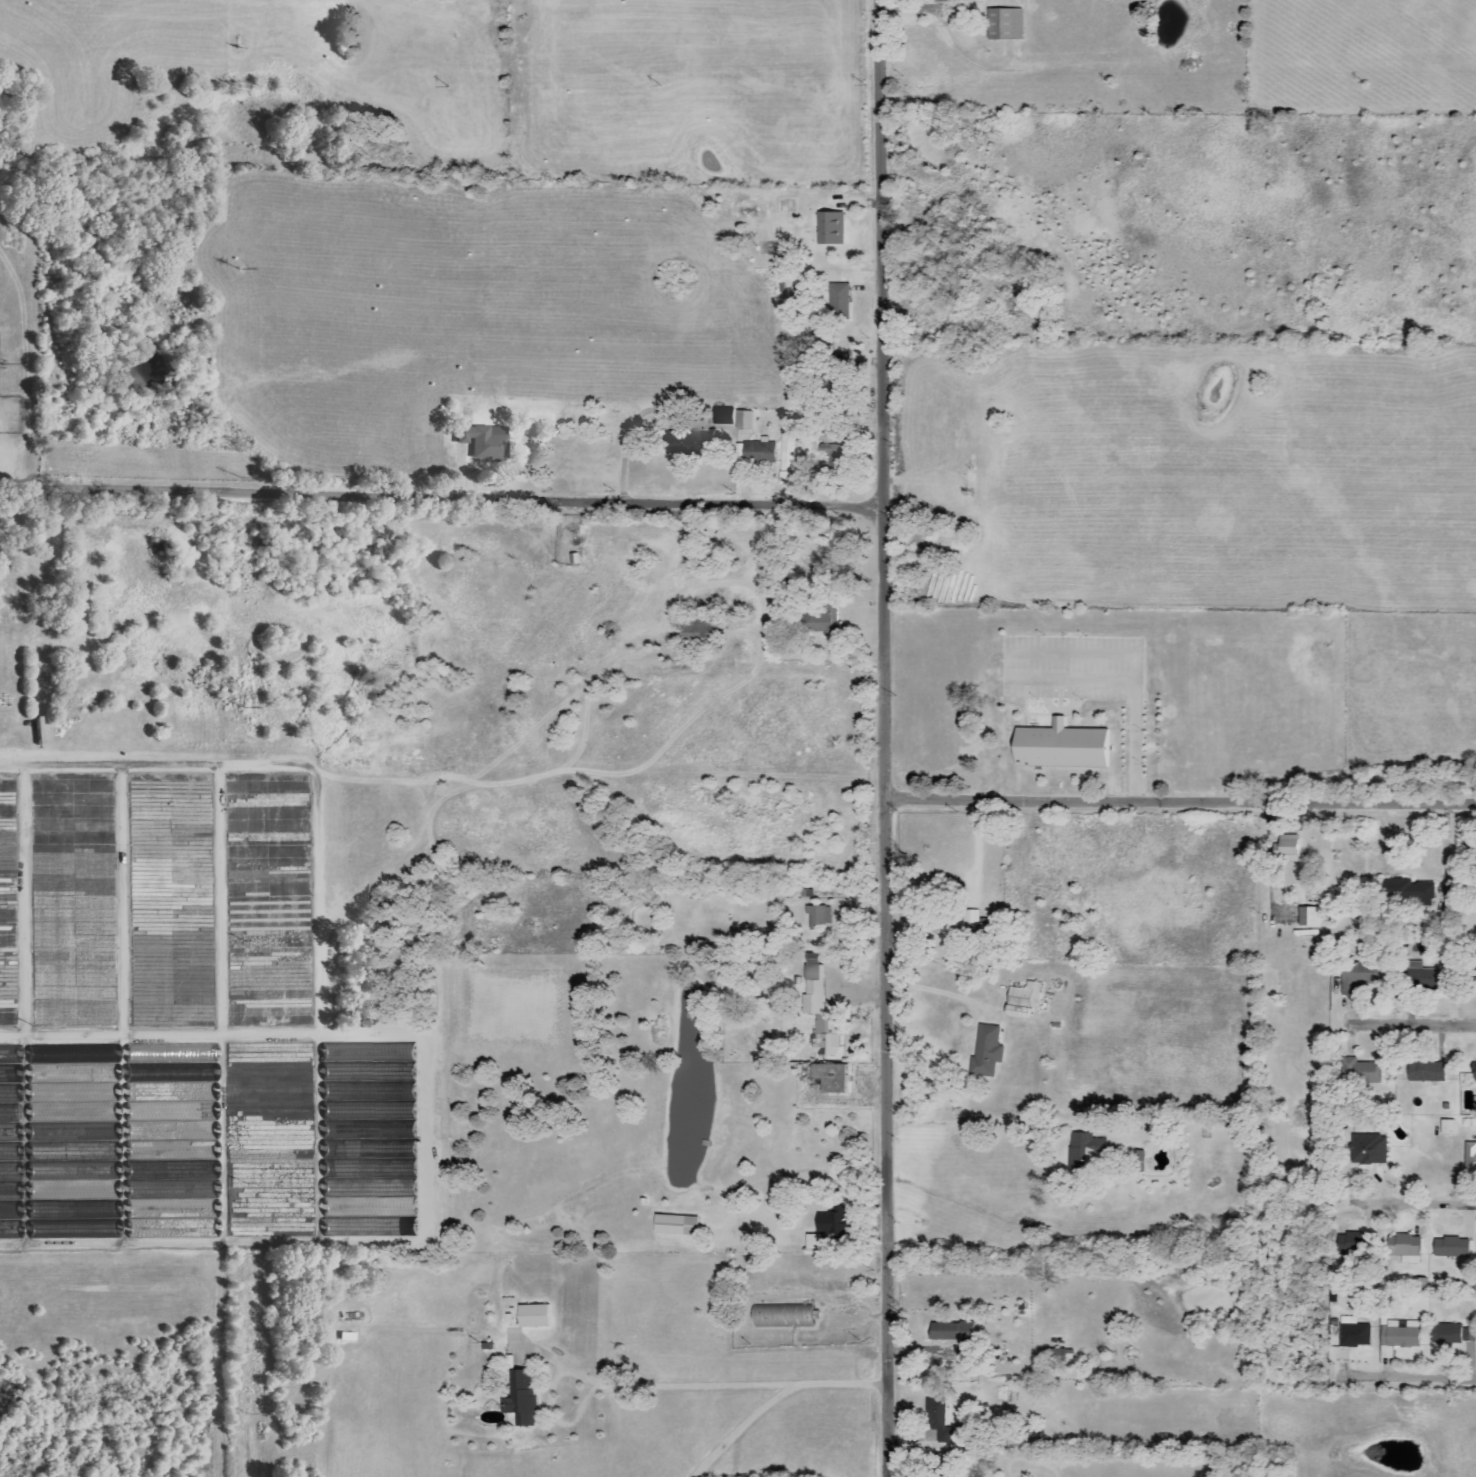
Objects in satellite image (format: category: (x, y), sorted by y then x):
building: (944, 1)
building: (1004, 24)
power tower: (1361, 83)
power tower: (657, 84)
power tower: (860, 84)
power tower: (1109, 84)
power tower: (442, 86)
power tower: (232, 89)
building: (829, 228)
road: (878, 270)
power tower: (234, 271)
building: (837, 301)
building: (722, 416)
building: (743, 421)
building: (832, 437)
building: (482, 440)
building: (680, 443)
building: (788, 446)
building: (759, 452)
power tower: (238, 481)
road: (440, 495)
building: (821, 620)
building: (699, 633)
road: (1134, 679)
building: (1060, 747)
road: (1178, 801)
building: (1286, 849)
building: (818, 918)
building: (1306, 922)
building: (947, 926)
building: (1422, 976)
building: (1351, 978)
building: (813, 987)
building: (1024, 995)
road: (881, 1009)
building: (1015, 1012)
road: (1417, 1025)
building: (827, 1038)
building: (356, 1049)
building: (986, 1052)
building: (12, 1053)
building: (355, 1070)
building: (1360, 1072)
building: (1425, 1072)
building: (1474, 1074)
building: (830, 1078)
building: (369, 1100)
road: (979, 1121)
building: (410, 1127)
building: (1447, 1128)
building: (356, 1146)
building: (413, 1148)
building: (1369, 1150)
building: (1085, 1151)
building: (1470, 1157)
building: (353, 1185)
road: (1420, 1202)
building: (674, 1226)
building: (831, 1226)
building: (348, 1227)
building: (1350, 1244)
building: (1451, 1248)
building: (1403, 1249)
building: (533, 1316)
building: (951, 1331)
building: (1453, 1335)
building: (1398, 1336)
building: (352, 1337)
building: (1058, 1356)
road: (1411, 1372)
road: (649, 1385)
building: (520, 1397)
road: (775, 1398)
building: (938, 1421)
building: (945, 1464)

